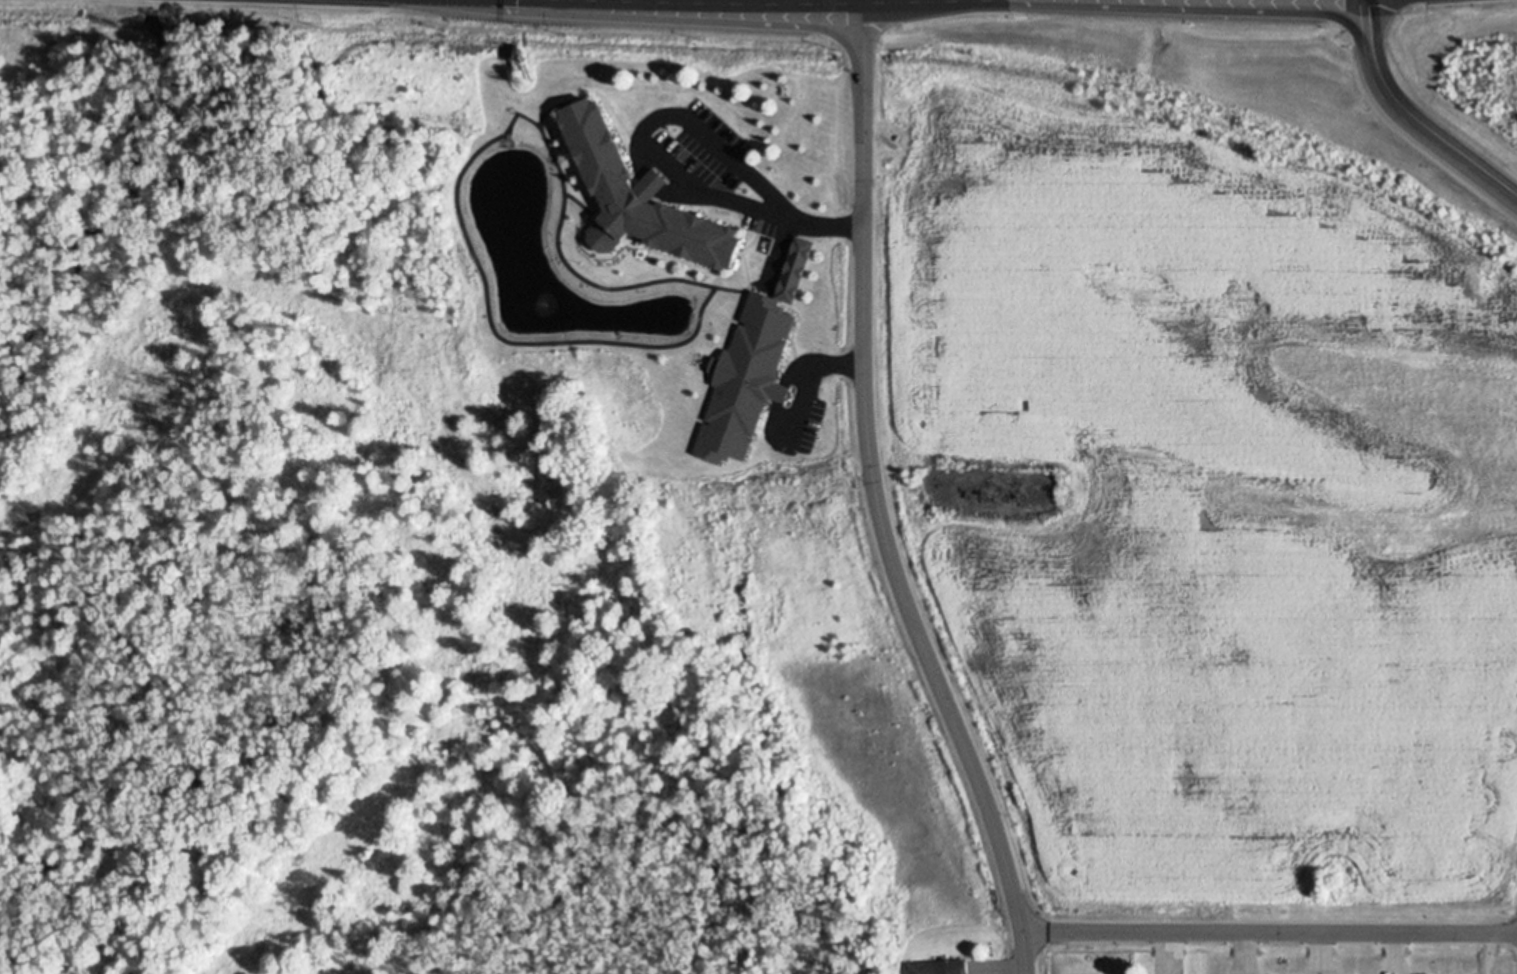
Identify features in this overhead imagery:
road: (1409, 119)
road: (658, 157)
building: (642, 197)
building: (793, 269)
road: (808, 381)
road: (871, 499)
road: (1267, 930)
building: (940, 966)

